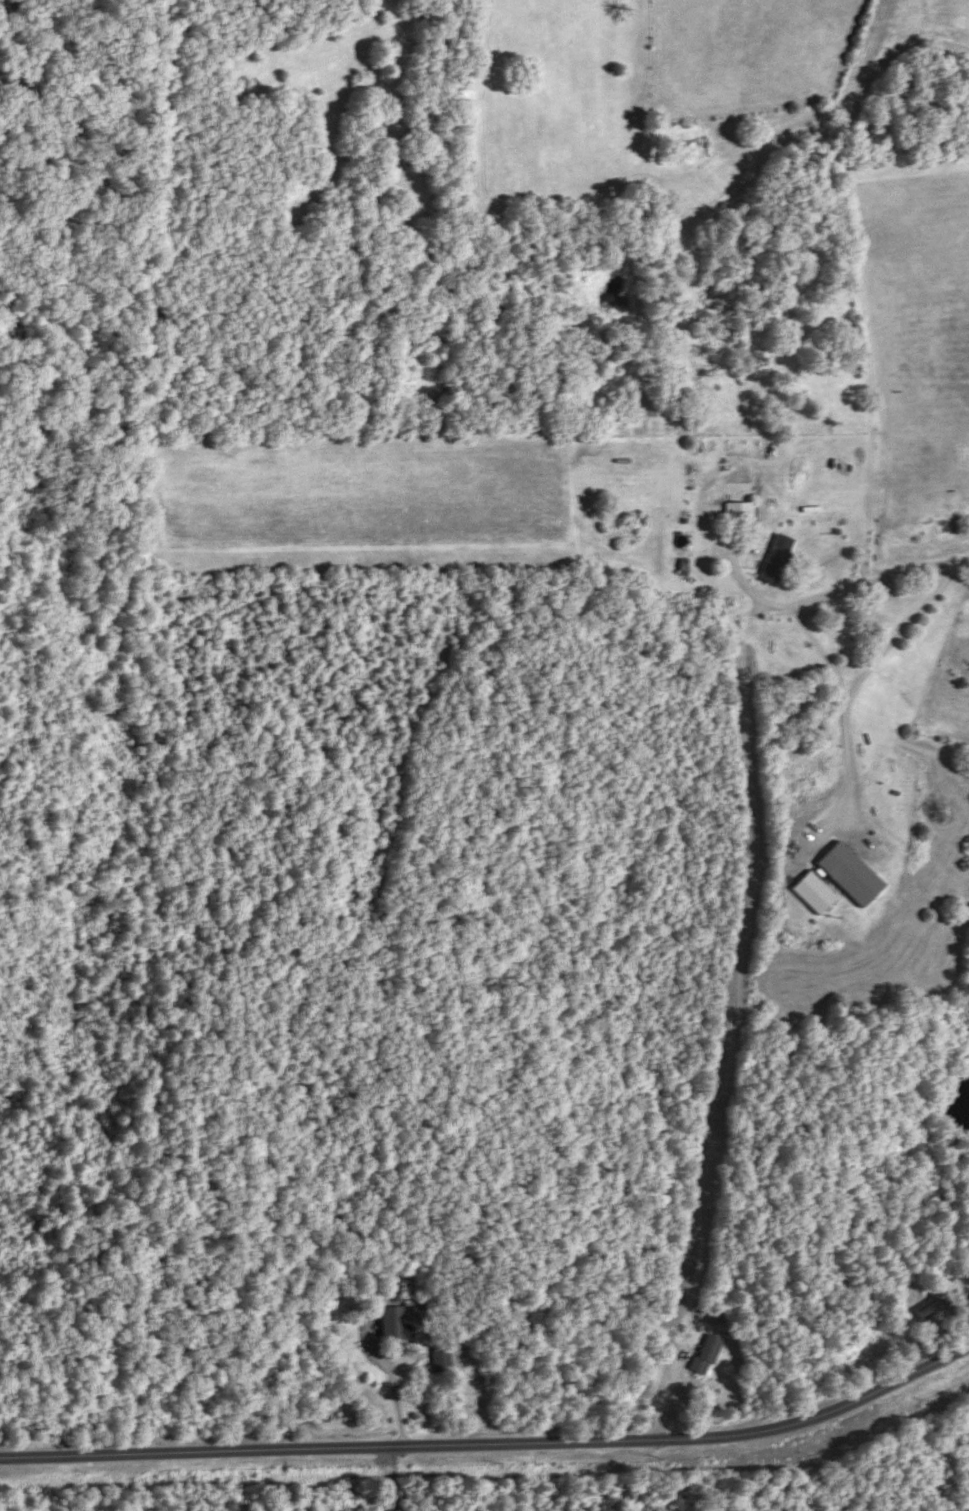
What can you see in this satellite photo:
building: (734, 513)
building: (772, 559)
road: (803, 605)
building: (850, 874)
building: (927, 1309)
road: (390, 1315)
building: (390, 1323)
building: (703, 1354)
building: (855, 1359)
building: (437, 1360)
road: (397, 1405)
road: (493, 1447)

